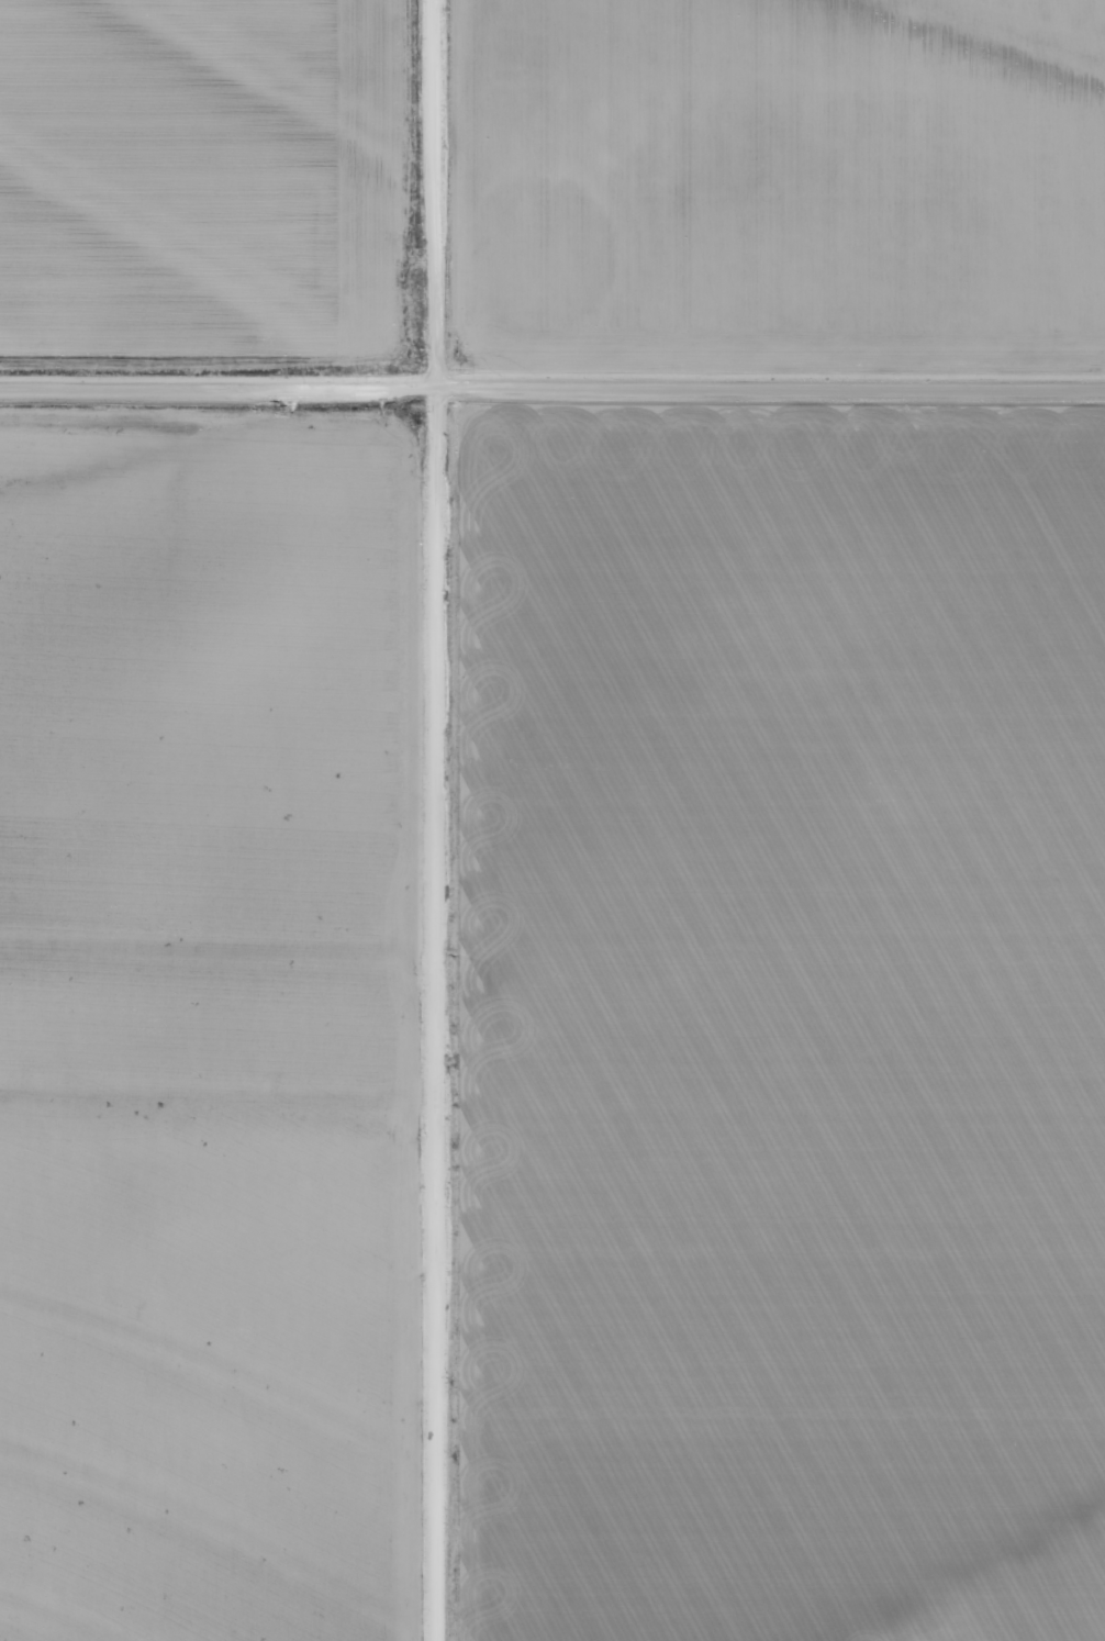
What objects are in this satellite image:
road: (551, 389)
road: (432, 819)

